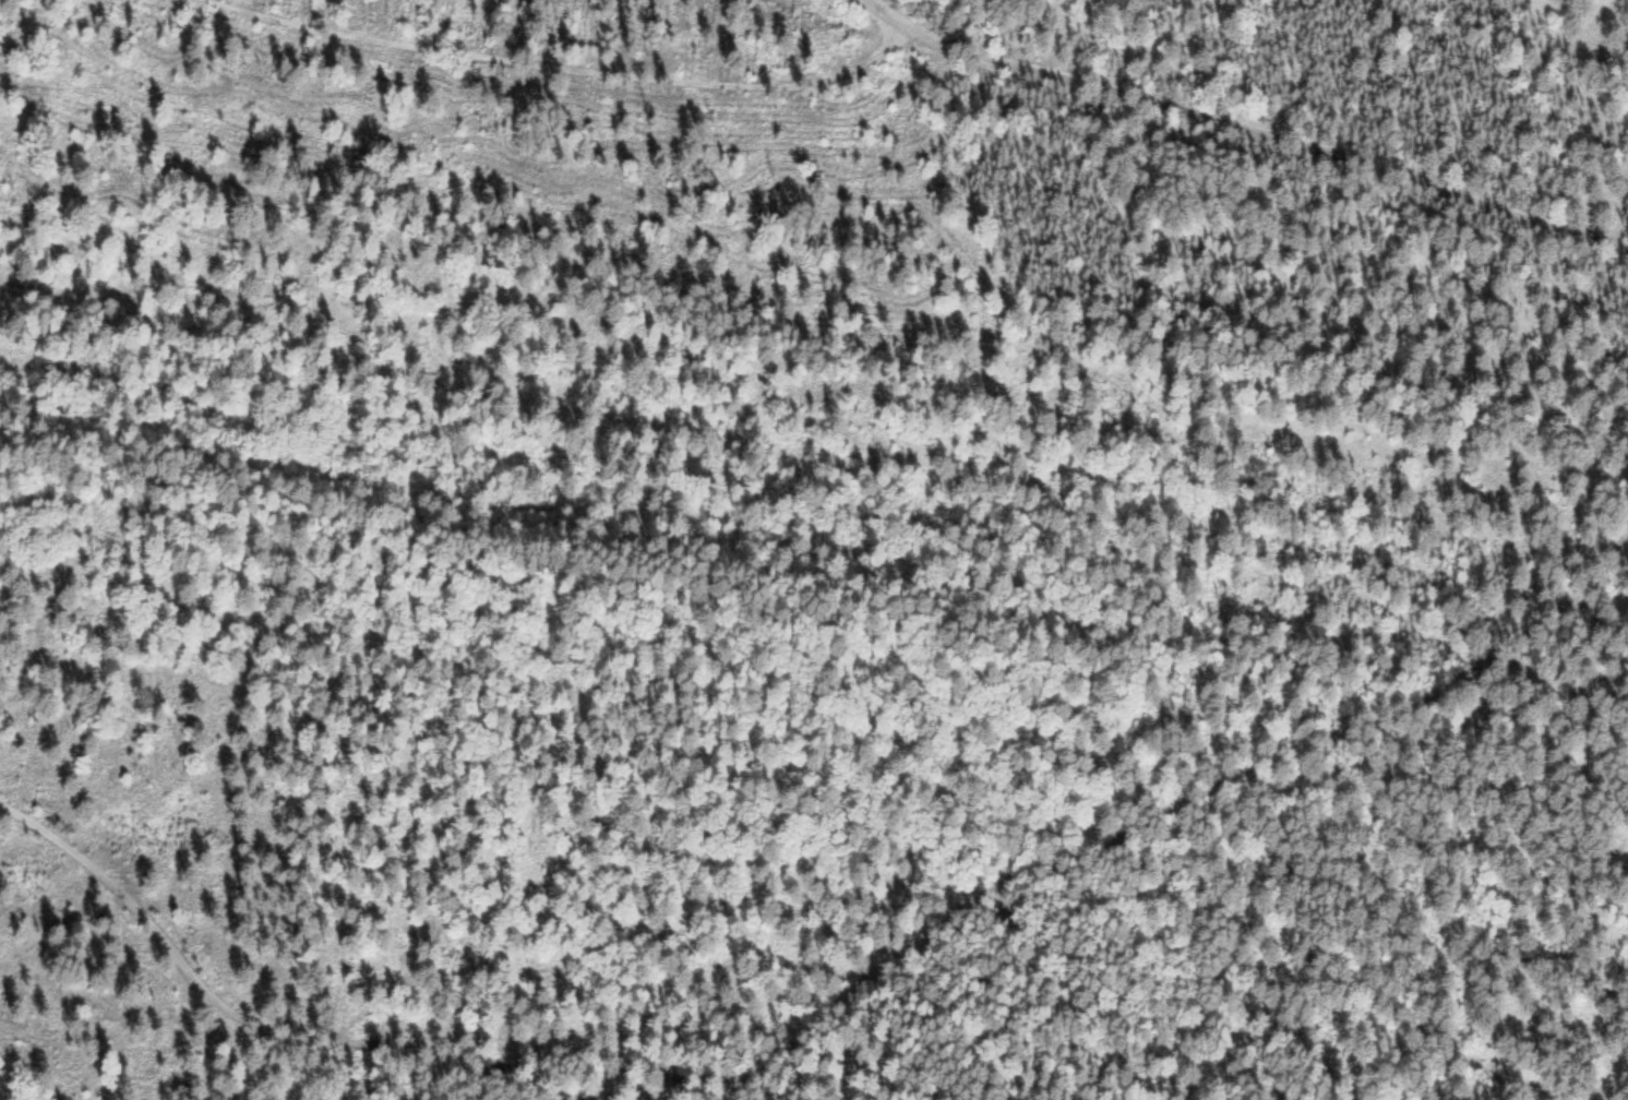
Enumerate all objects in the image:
road: (889, 16)
road: (535, 53)
road: (1269, 150)
road: (1355, 742)
road: (775, 1064)
road: (487, 1072)

